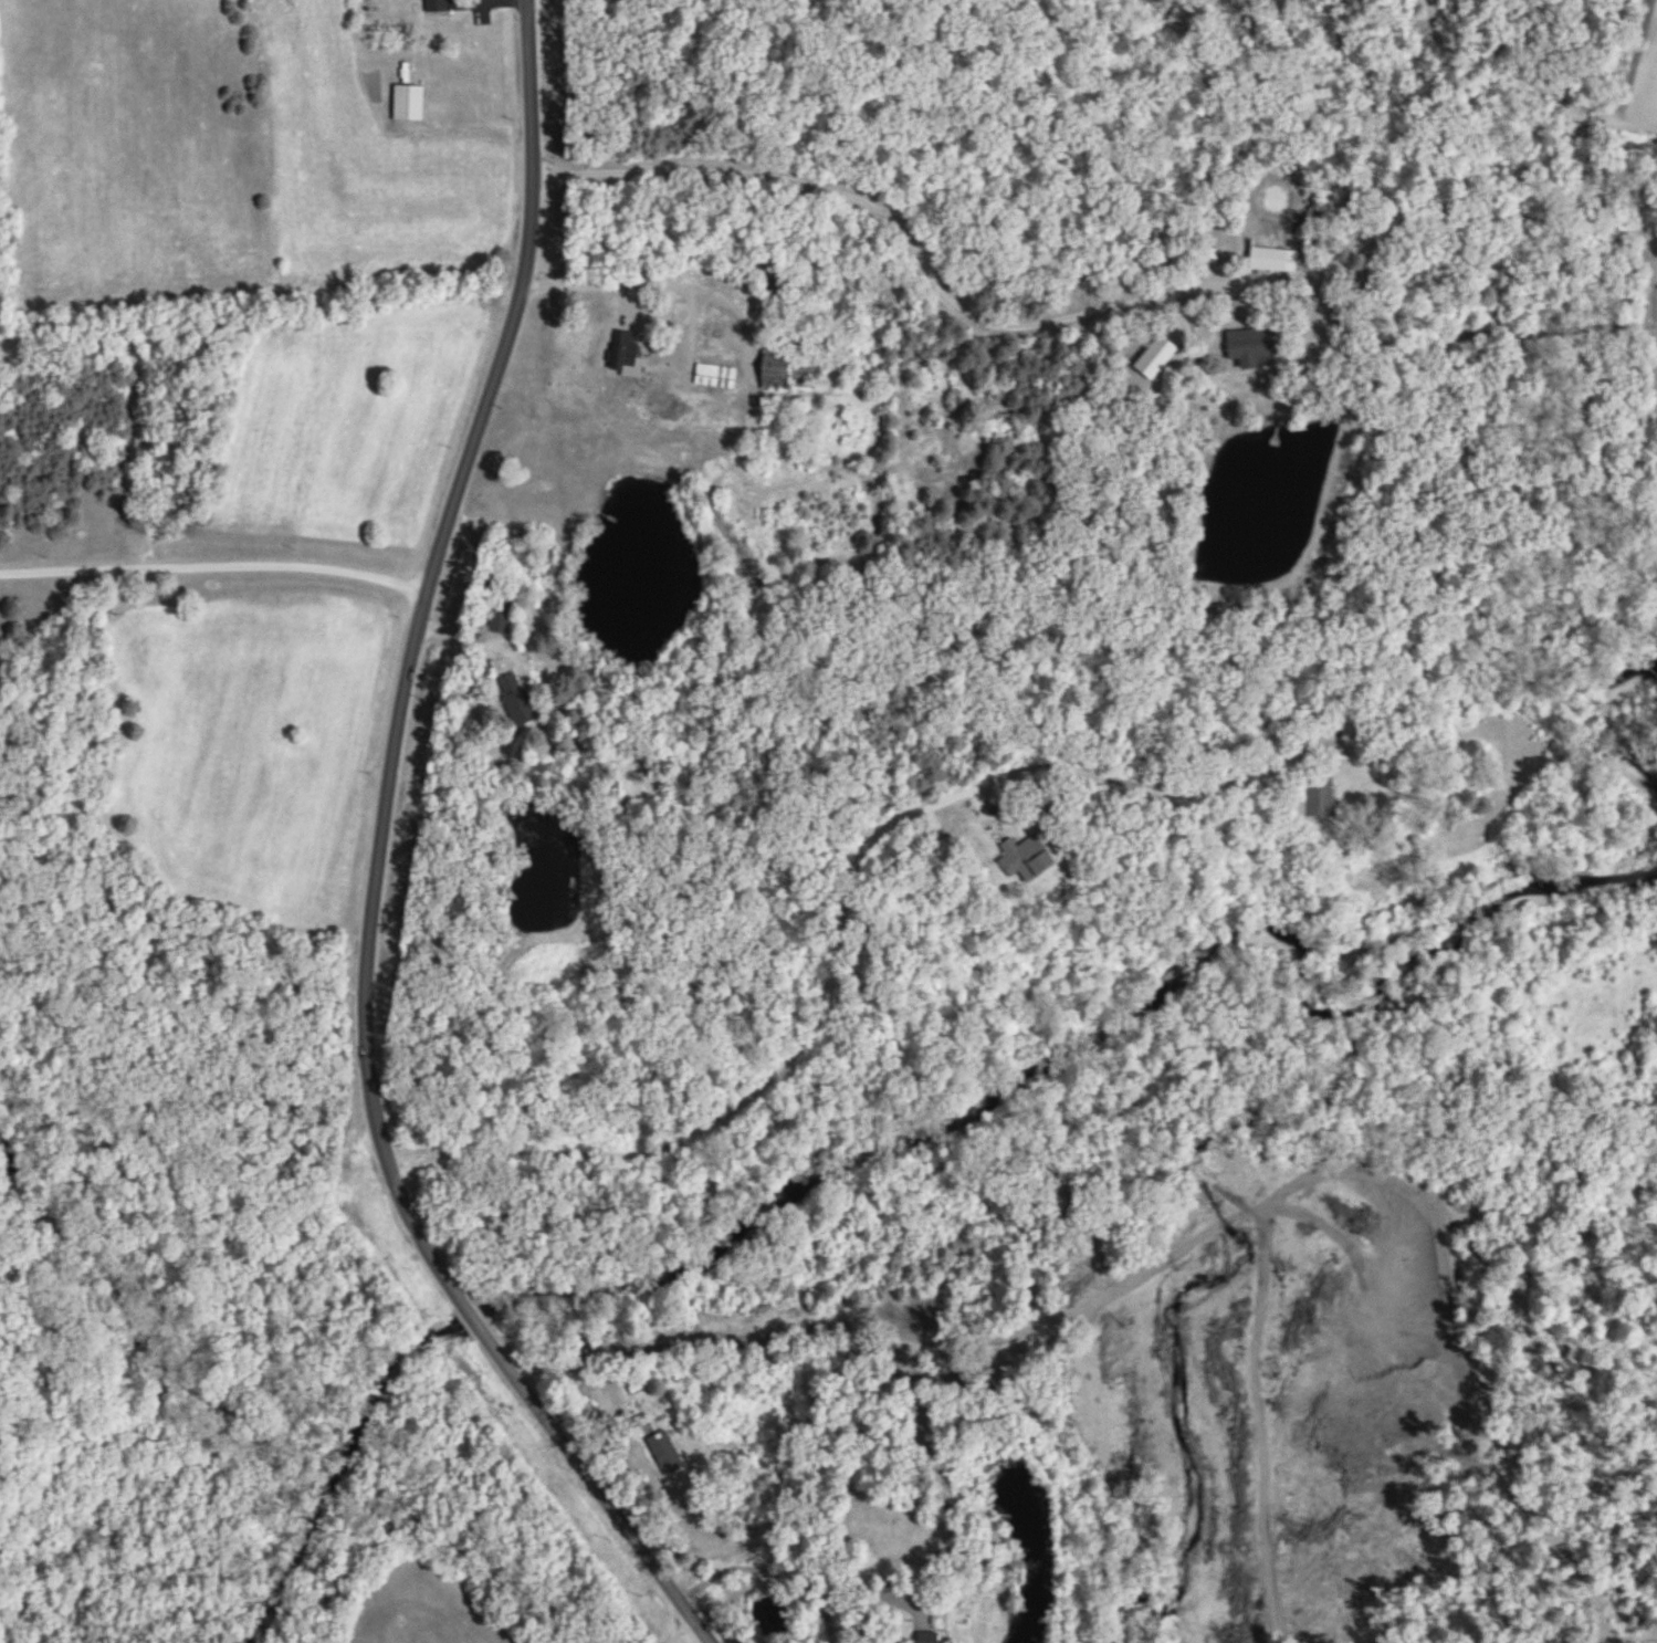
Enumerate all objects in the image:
building: (434, 7)
building: (407, 105)
road: (892, 219)
building: (1454, 237)
building: (1271, 262)
building: (1382, 268)
road: (646, 286)
building: (1247, 346)
building: (628, 353)
building: (787, 378)
road: (214, 566)
building: (500, 616)
building: (515, 700)
building: (1350, 726)
building: (1320, 798)
building: (1024, 859)
road: (376, 864)
road: (833, 913)
building: (663, 1452)
road: (767, 1569)
building: (924, 1639)

